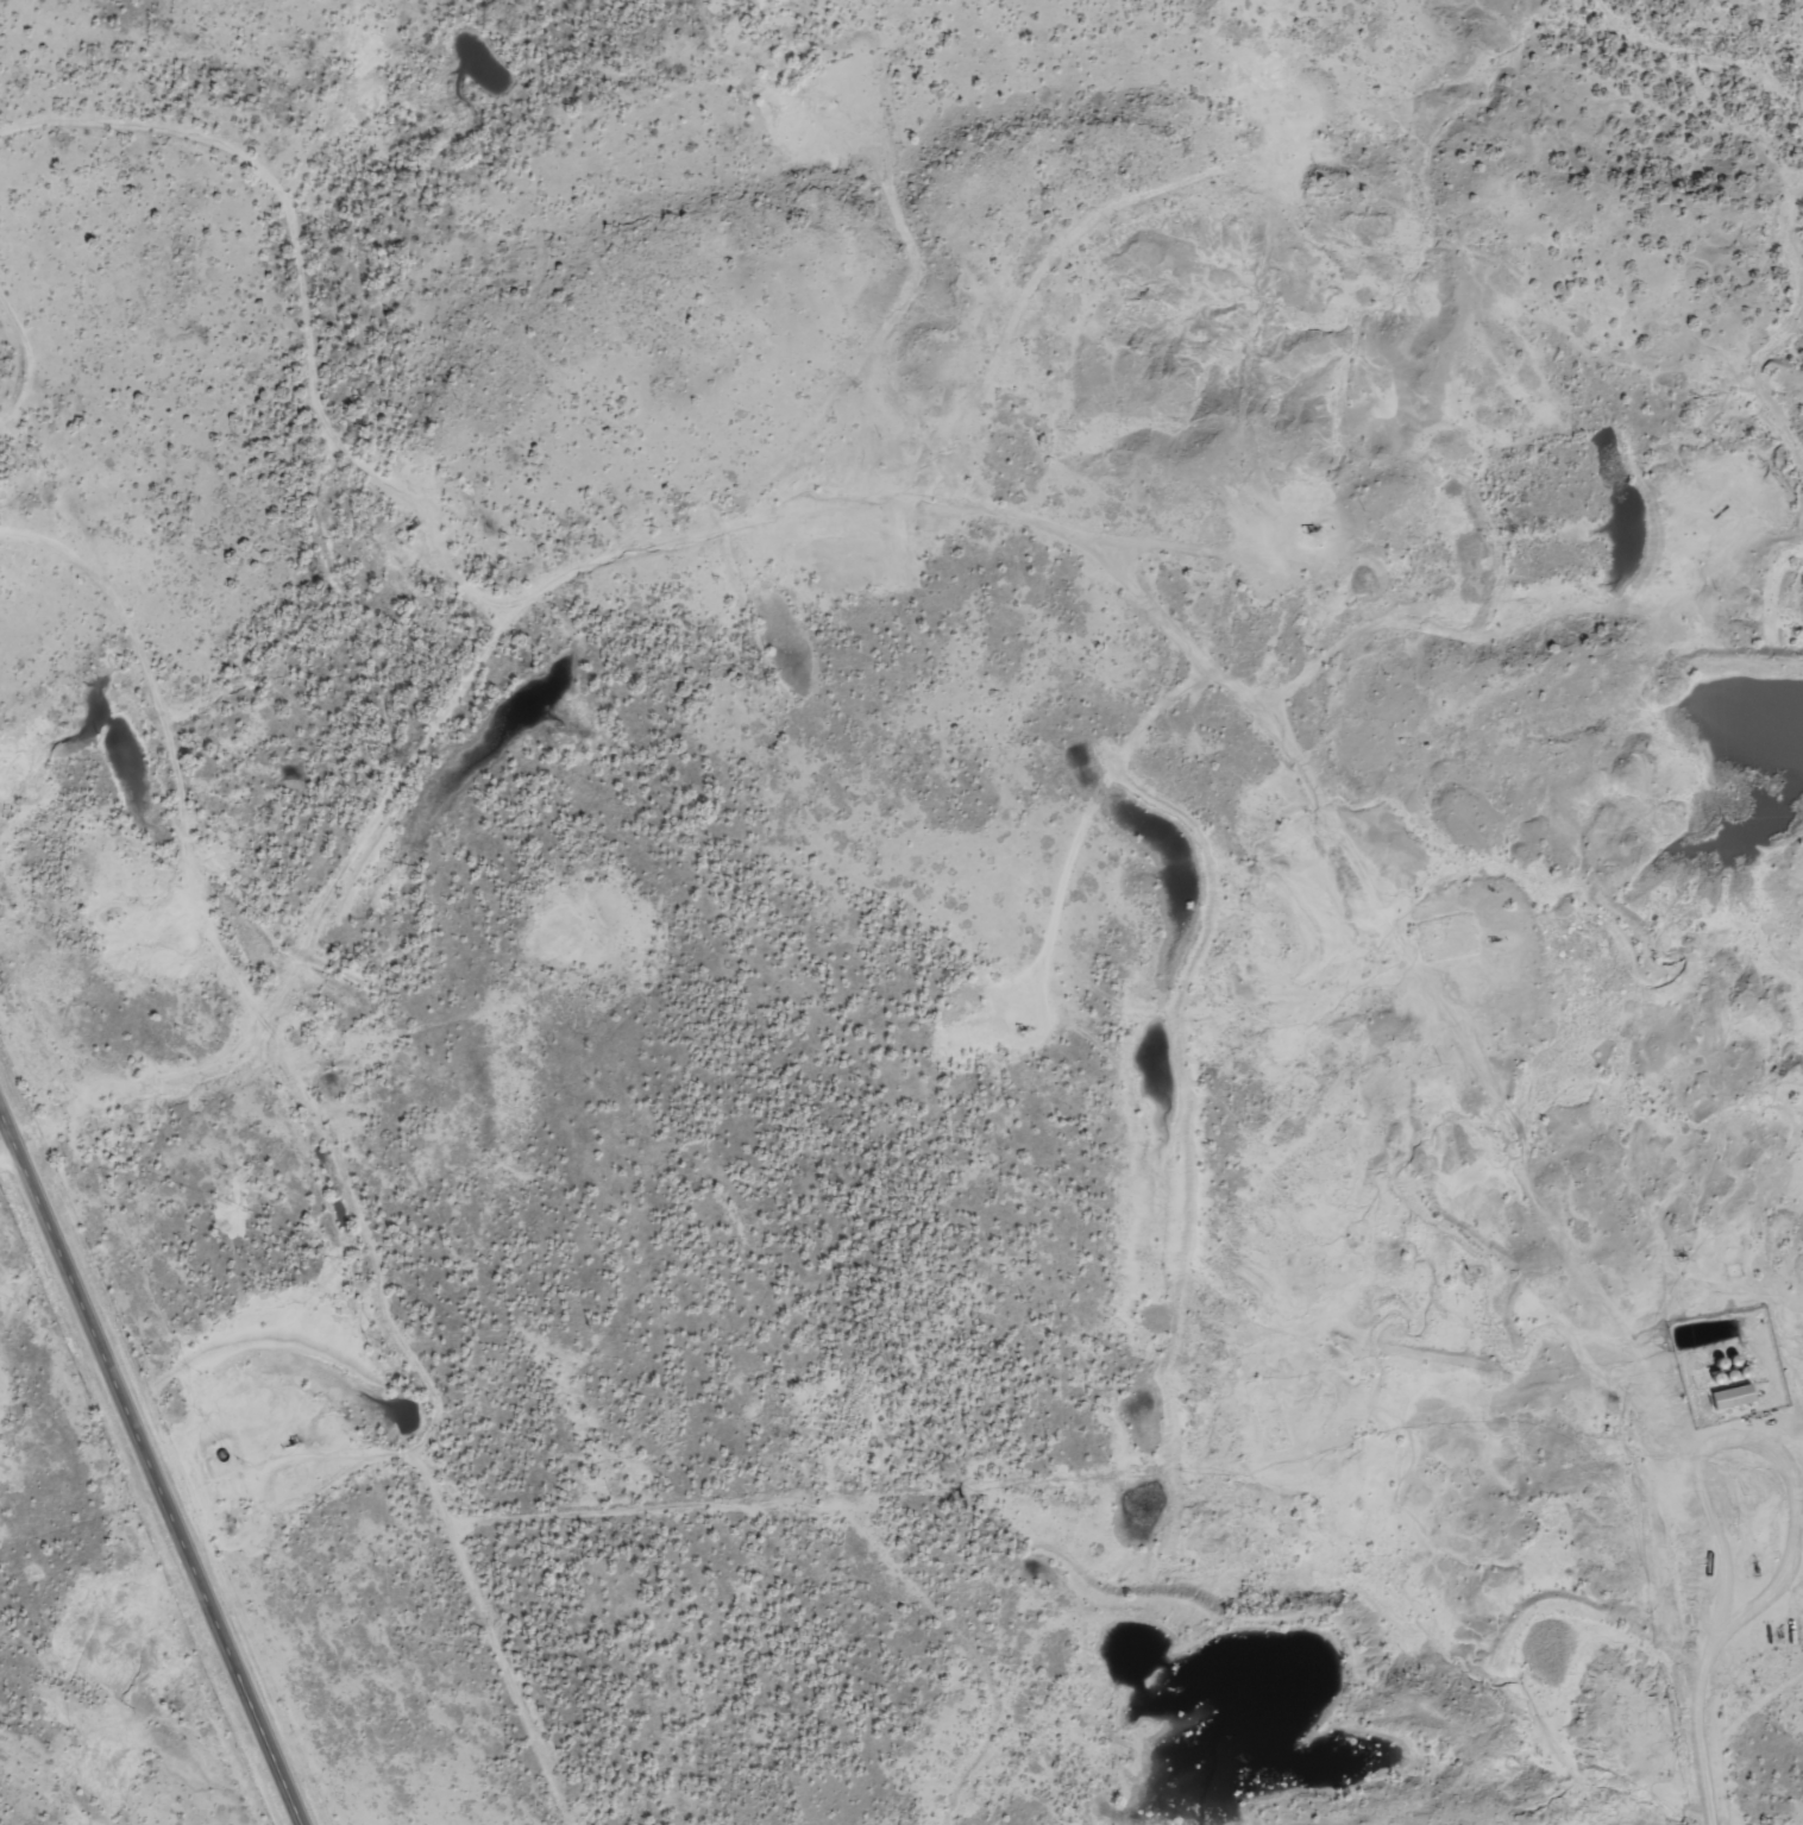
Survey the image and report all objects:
building: (1725, 1393)
road: (152, 1461)
road: (489, 1533)

